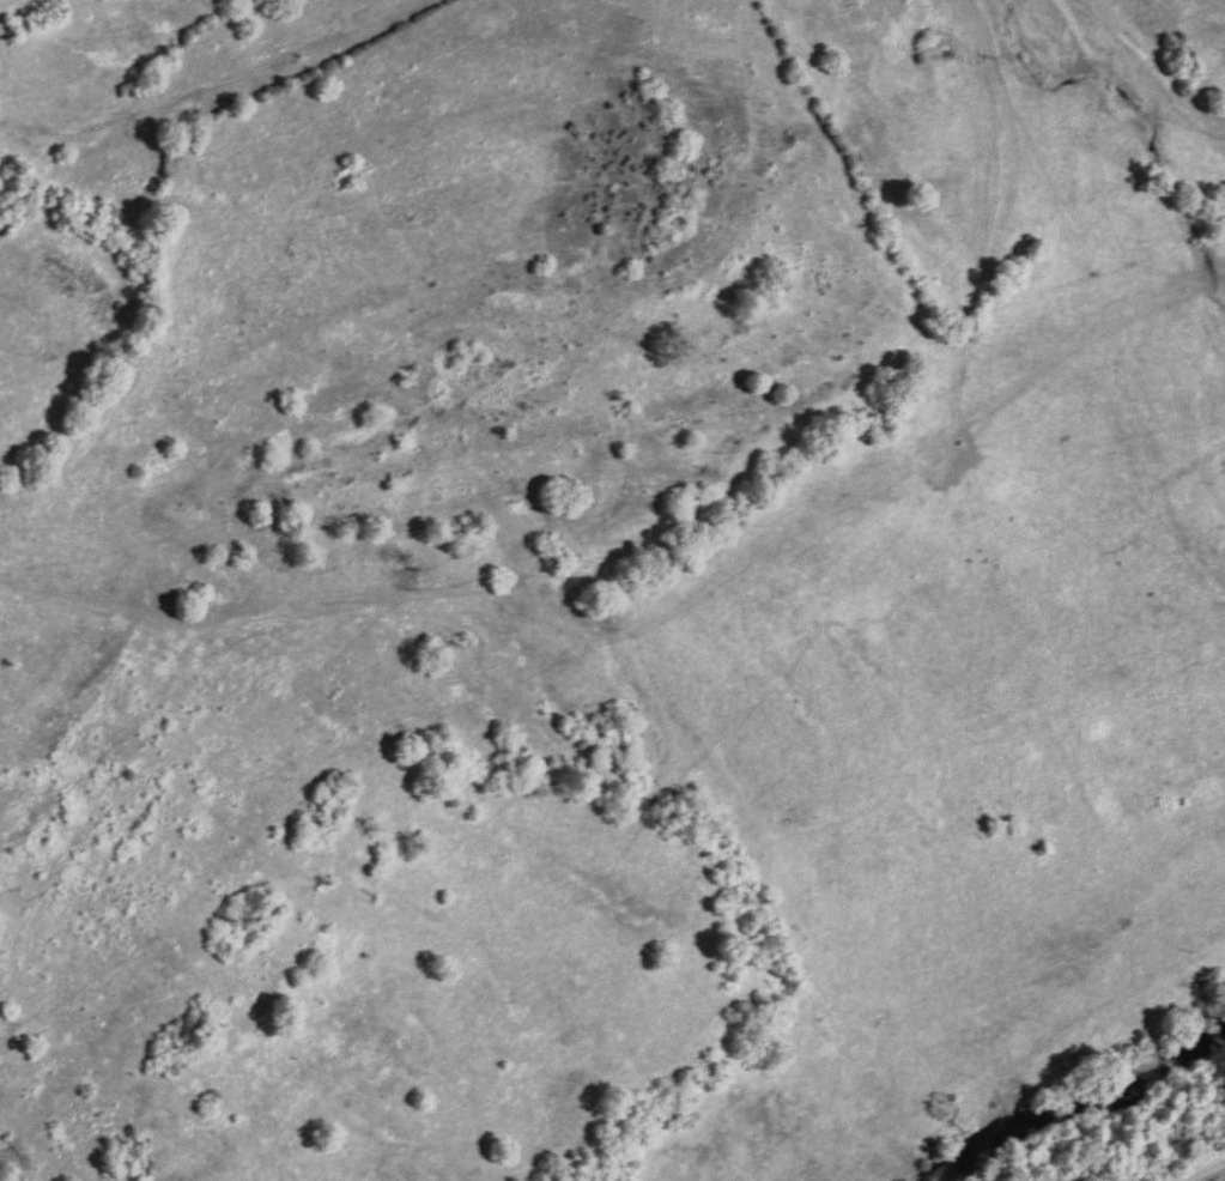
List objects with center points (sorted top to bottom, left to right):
road: (1211, 1174)

